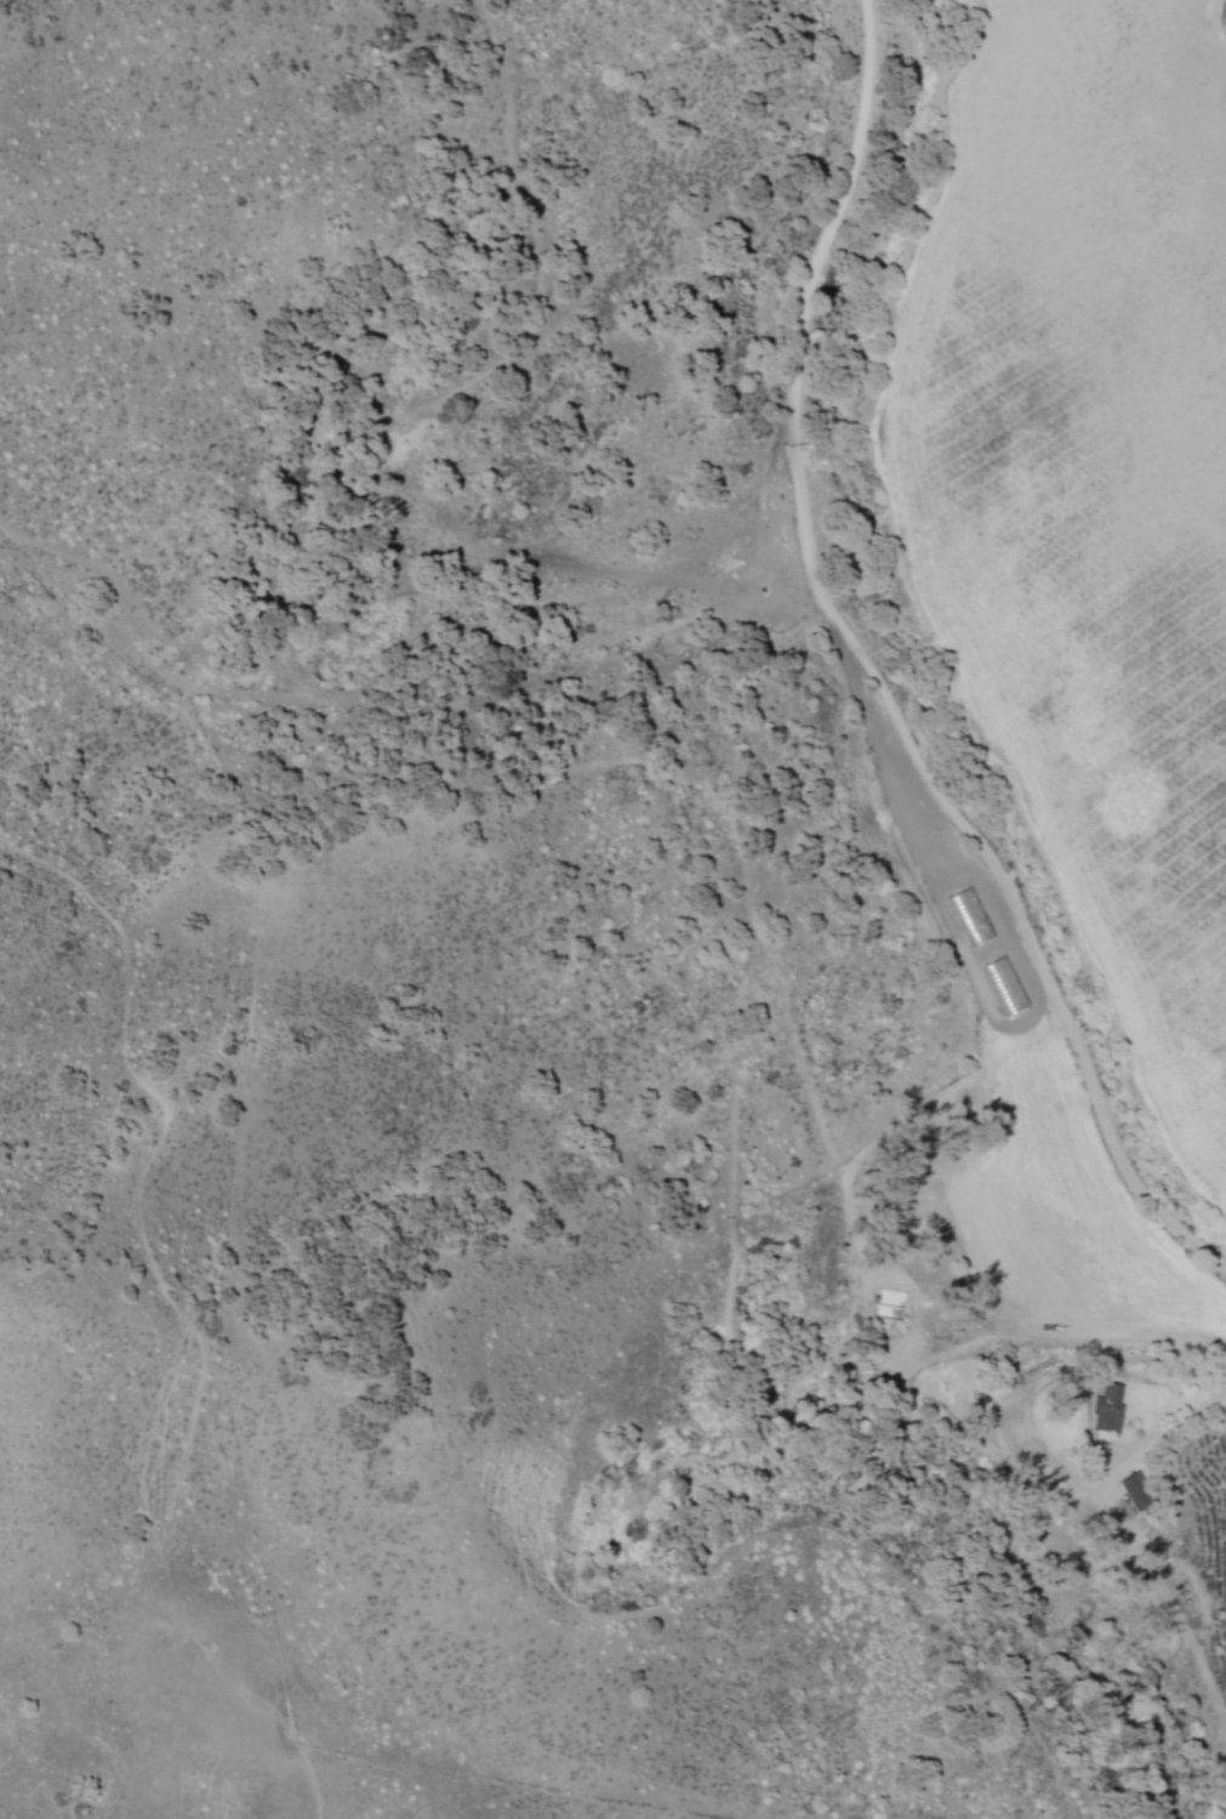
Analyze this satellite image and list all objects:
crop: (1095, 669)
road: (874, 673)
building: (964, 916)
building: (998, 985)
building: (1104, 1410)
building: (1130, 1491)

